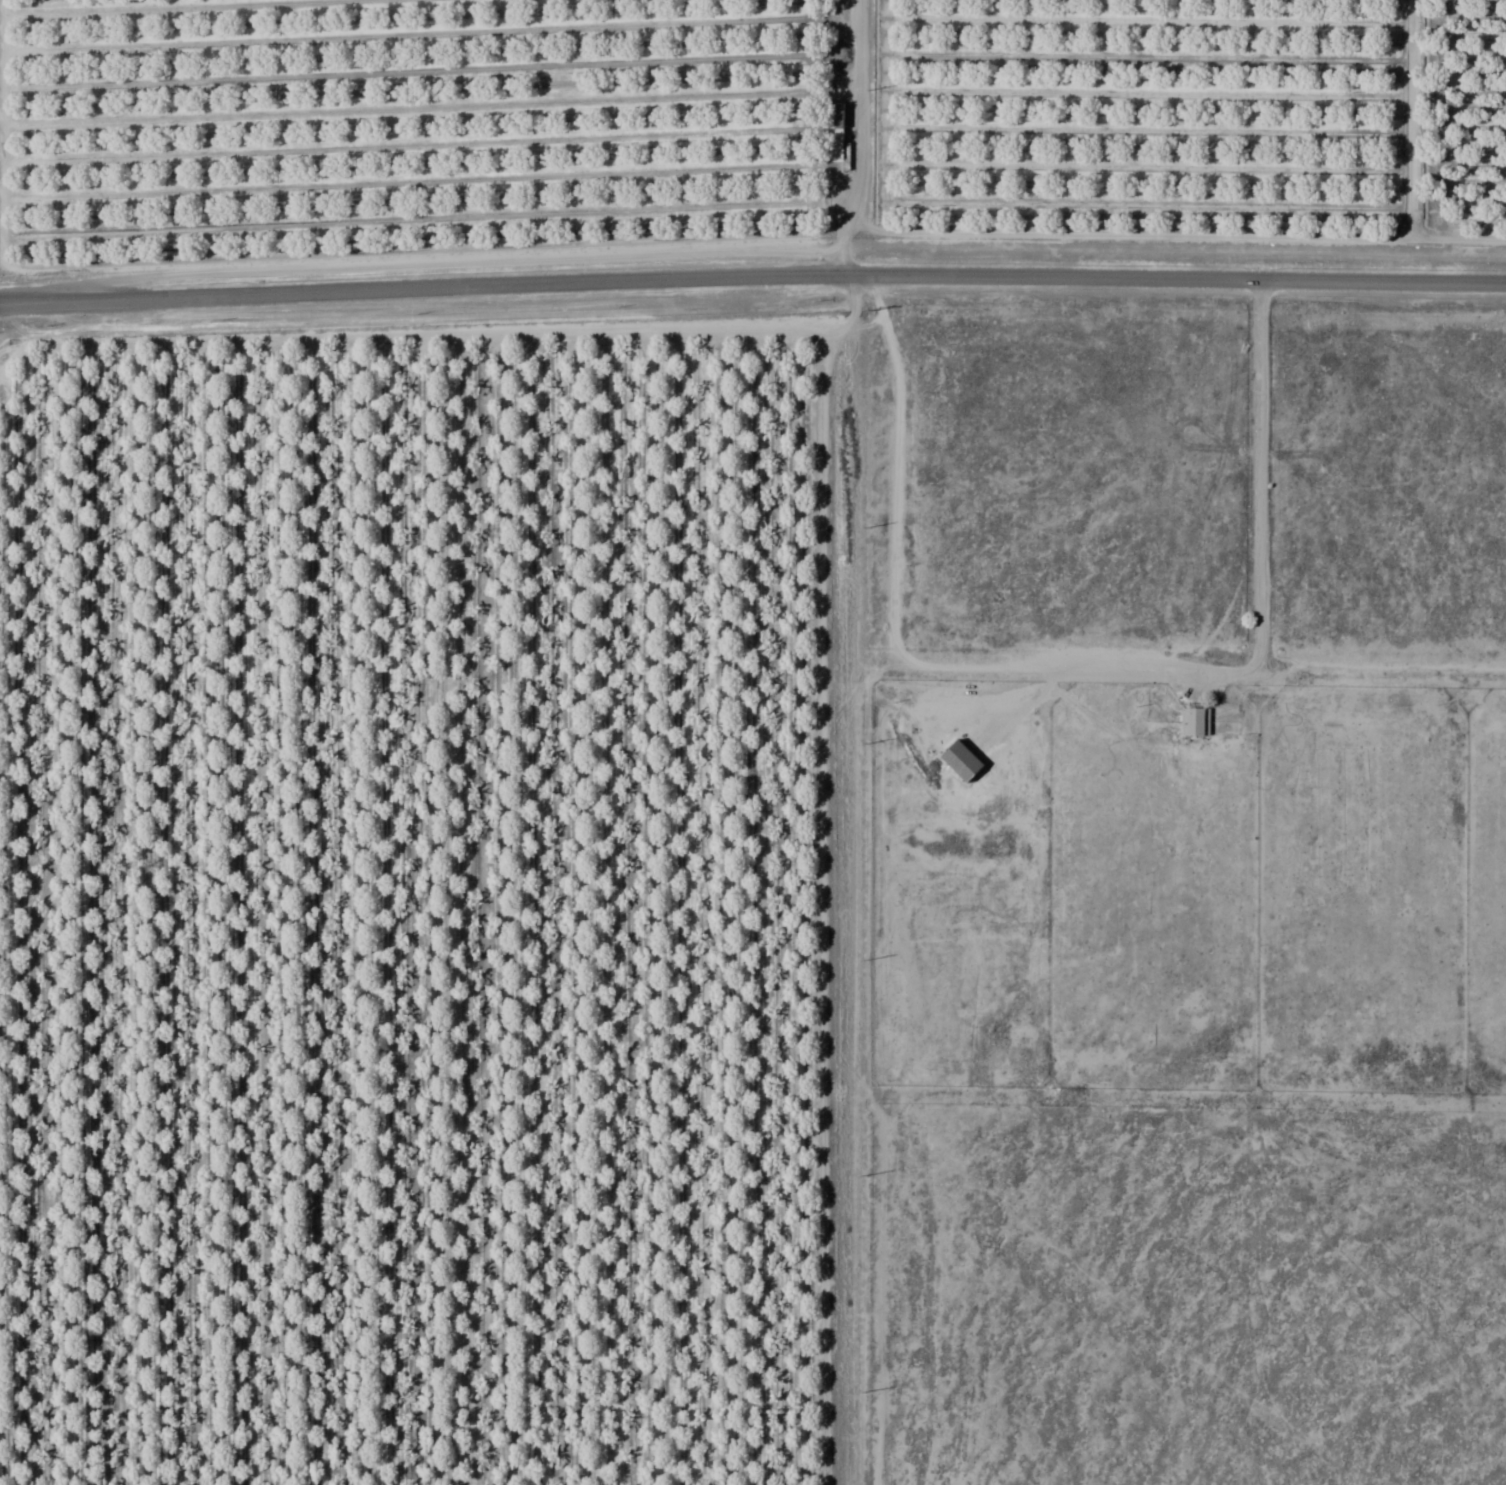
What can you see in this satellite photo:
building: (832, 132)
road: (752, 276)
power tower: (869, 310)
building: (1194, 721)
road: (826, 742)
building: (960, 760)
road: (1164, 1092)

